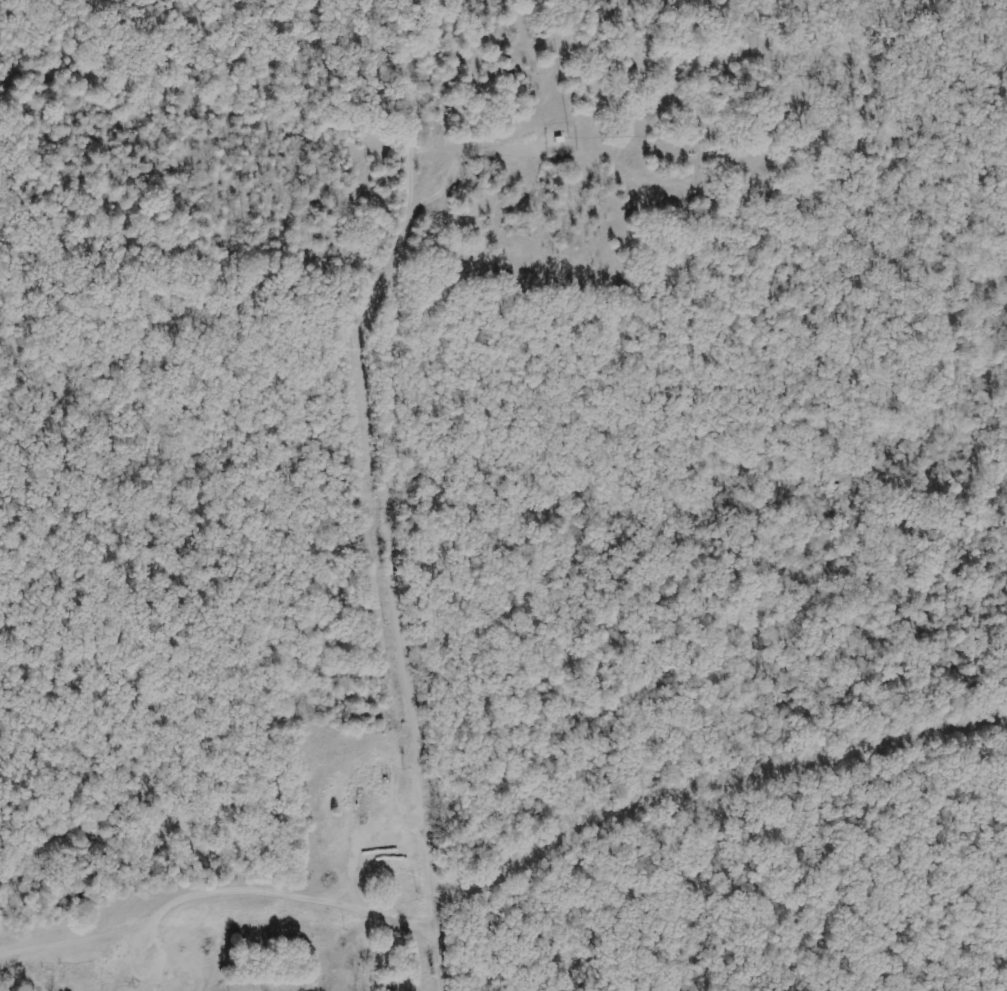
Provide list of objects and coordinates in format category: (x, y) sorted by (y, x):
road: (395, 357)
park: (455, 372)
road: (431, 853)

